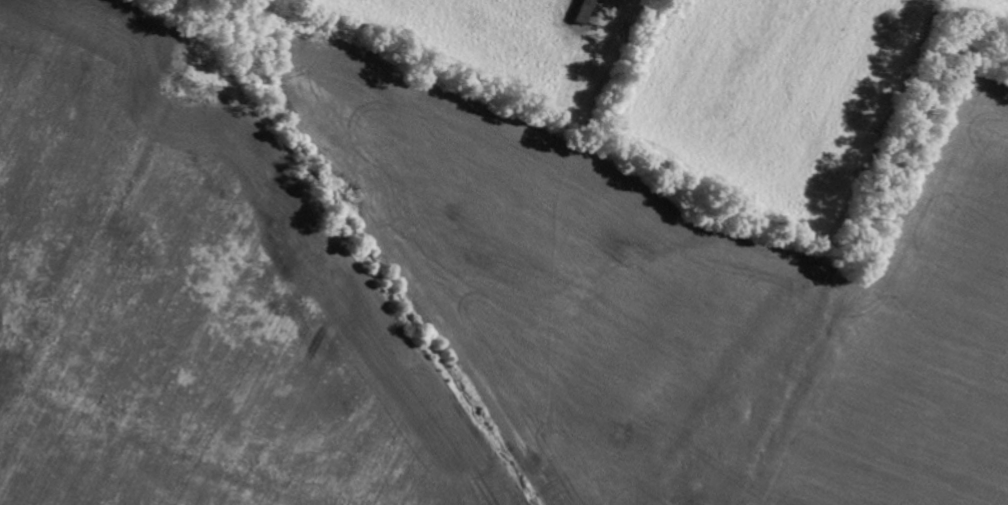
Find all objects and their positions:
building: (584, 11)

